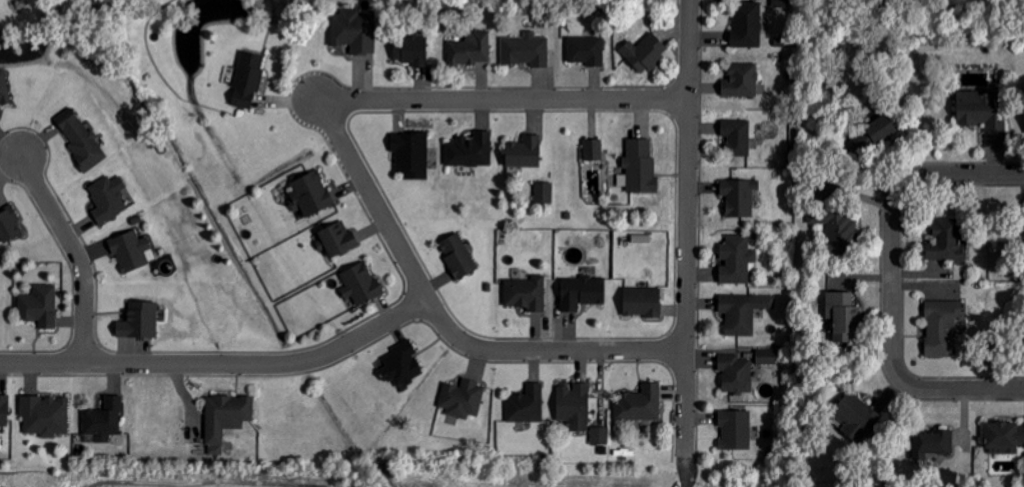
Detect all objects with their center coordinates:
building: (745, 26)
building: (352, 31)
building: (410, 49)
building: (469, 50)
building: (525, 50)
building: (585, 50)
building: (643, 53)
building: (246, 80)
building: (741, 81)
building: (4, 89)
building: (1023, 104)
building: (979, 113)
building: (870, 134)
building: (736, 137)
building: (82, 143)
building: (593, 150)
building: (470, 151)
building: (522, 152)
building: (410, 155)
road: (352, 160)
building: (638, 167)
building: (310, 193)
building: (544, 193)
building: (738, 197)
building: (108, 199)
road: (893, 219)
building: (1023, 219)
building: (9, 225)
road: (686, 227)
building: (837, 227)
building: (337, 239)
building: (641, 239)
building: (944, 241)
road: (76, 250)
building: (131, 251)
building: (457, 256)
building: (735, 259)
building: (361, 284)
building: (526, 293)
building: (581, 293)
building: (641, 302)
building: (39, 307)
building: (743, 312)
building: (840, 318)
building: (139, 321)
building: (937, 329)
building: (767, 357)
road: (220, 363)
building: (401, 365)
building: (735, 374)
road: (962, 387)
building: (462, 399)
building: (639, 404)
building: (526, 405)
building: (573, 406)
building: (5, 410)
building: (855, 414)
building: (46, 415)
building: (226, 416)
building: (105, 419)
building: (1023, 424)
building: (735, 430)
building: (600, 435)
building: (1002, 437)
building: (933, 444)
road: (685, 471)

